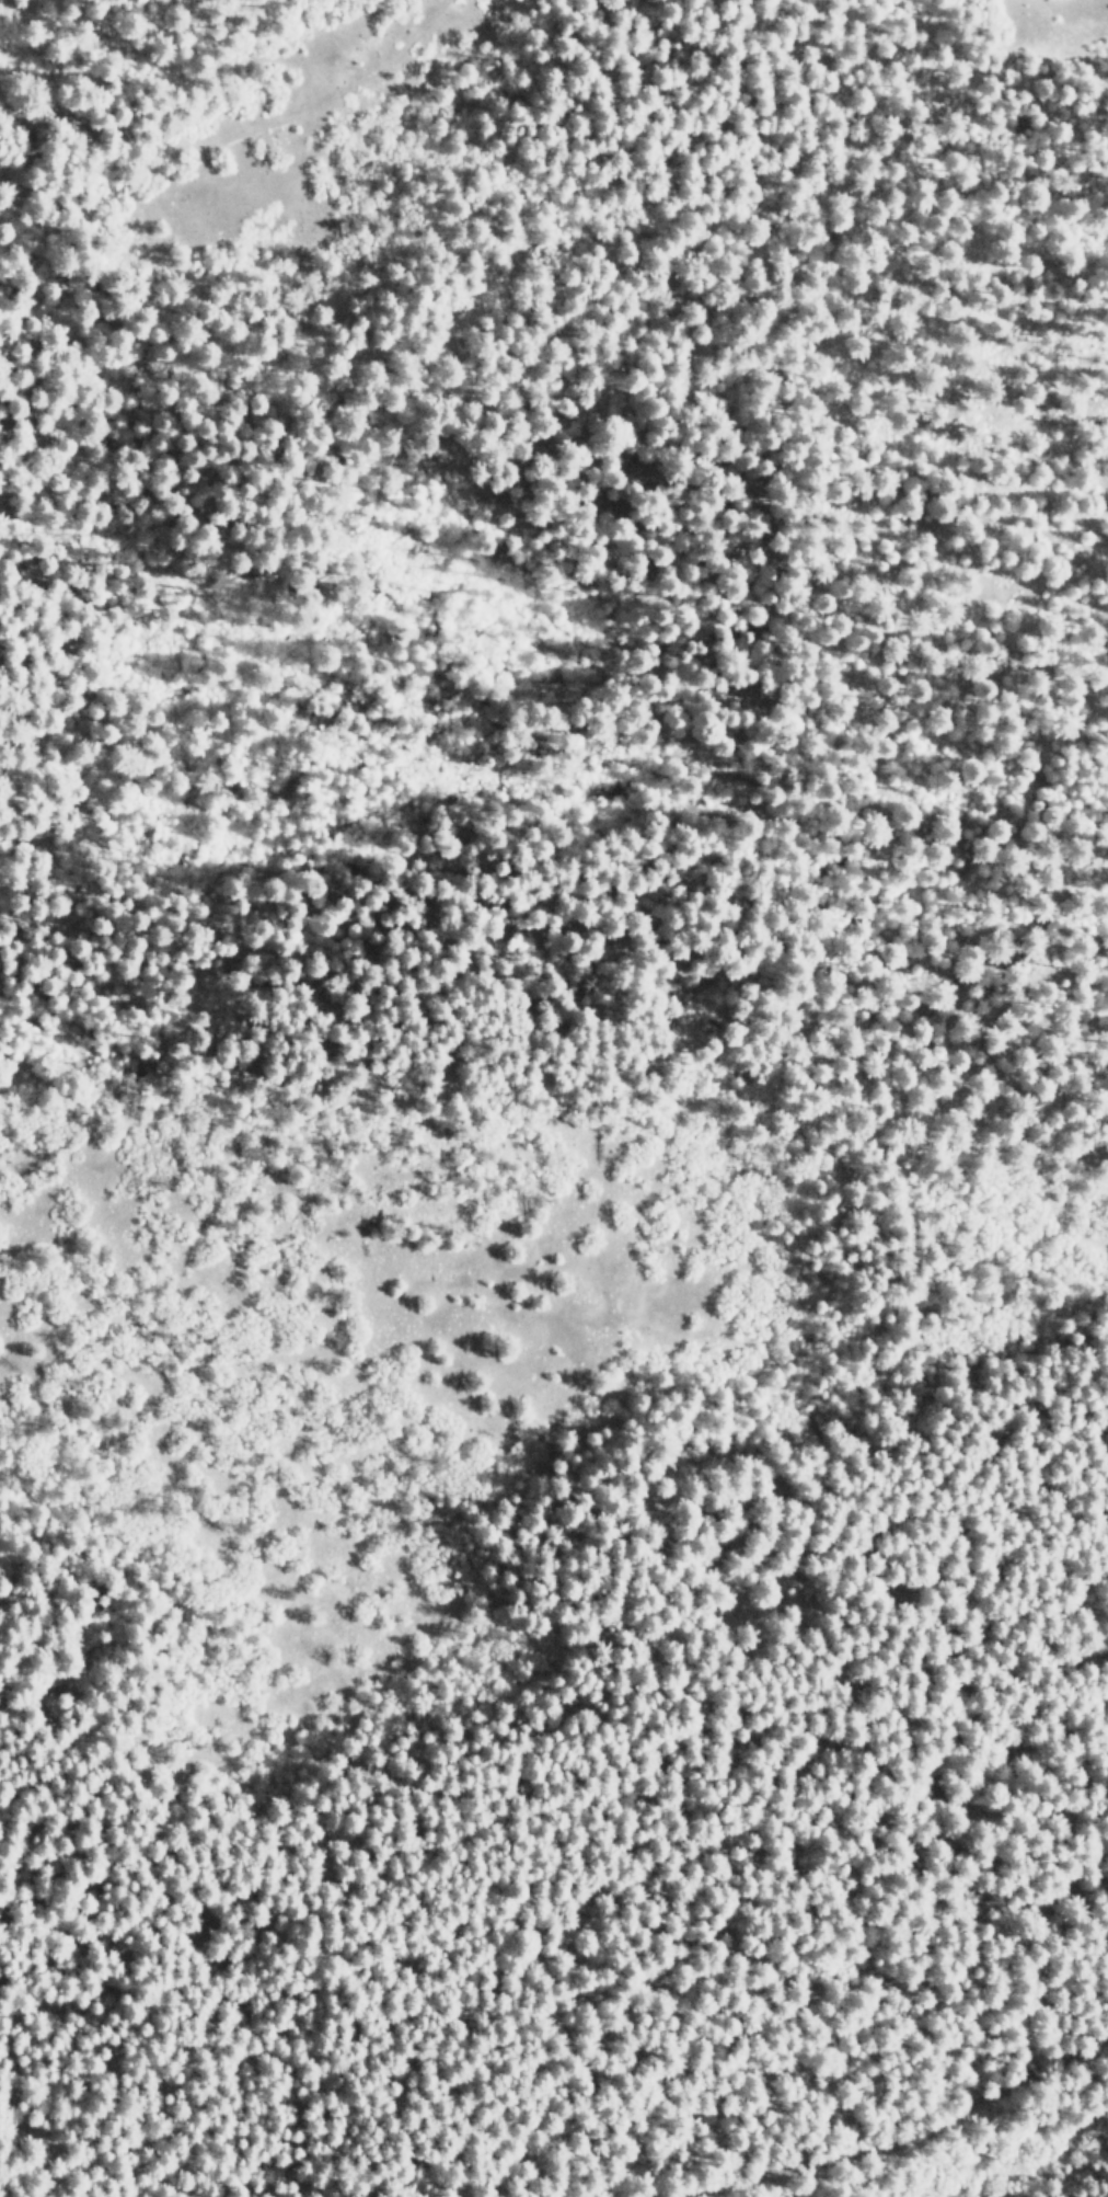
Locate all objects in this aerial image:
road: (980, 2141)

